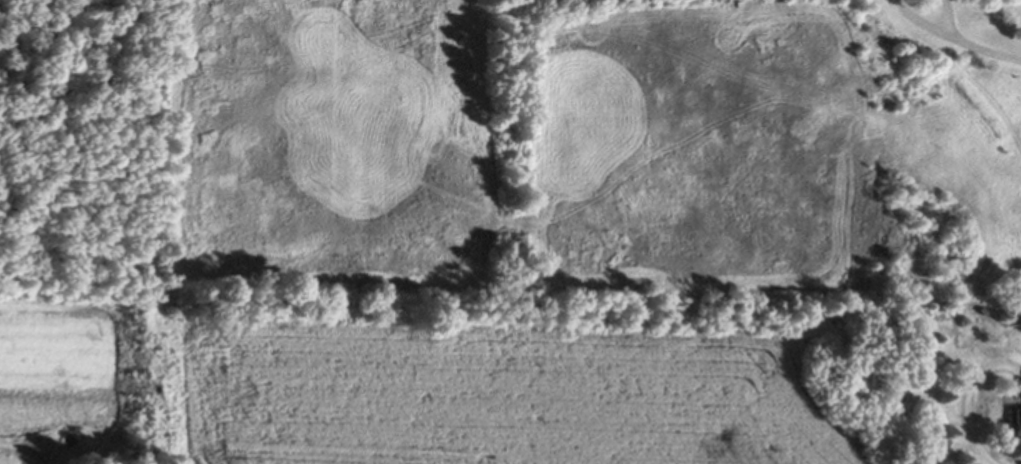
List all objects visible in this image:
road: (952, 18)
road: (923, 24)
road: (988, 50)
road: (1020, 396)
road: (971, 402)
building: (1015, 425)

